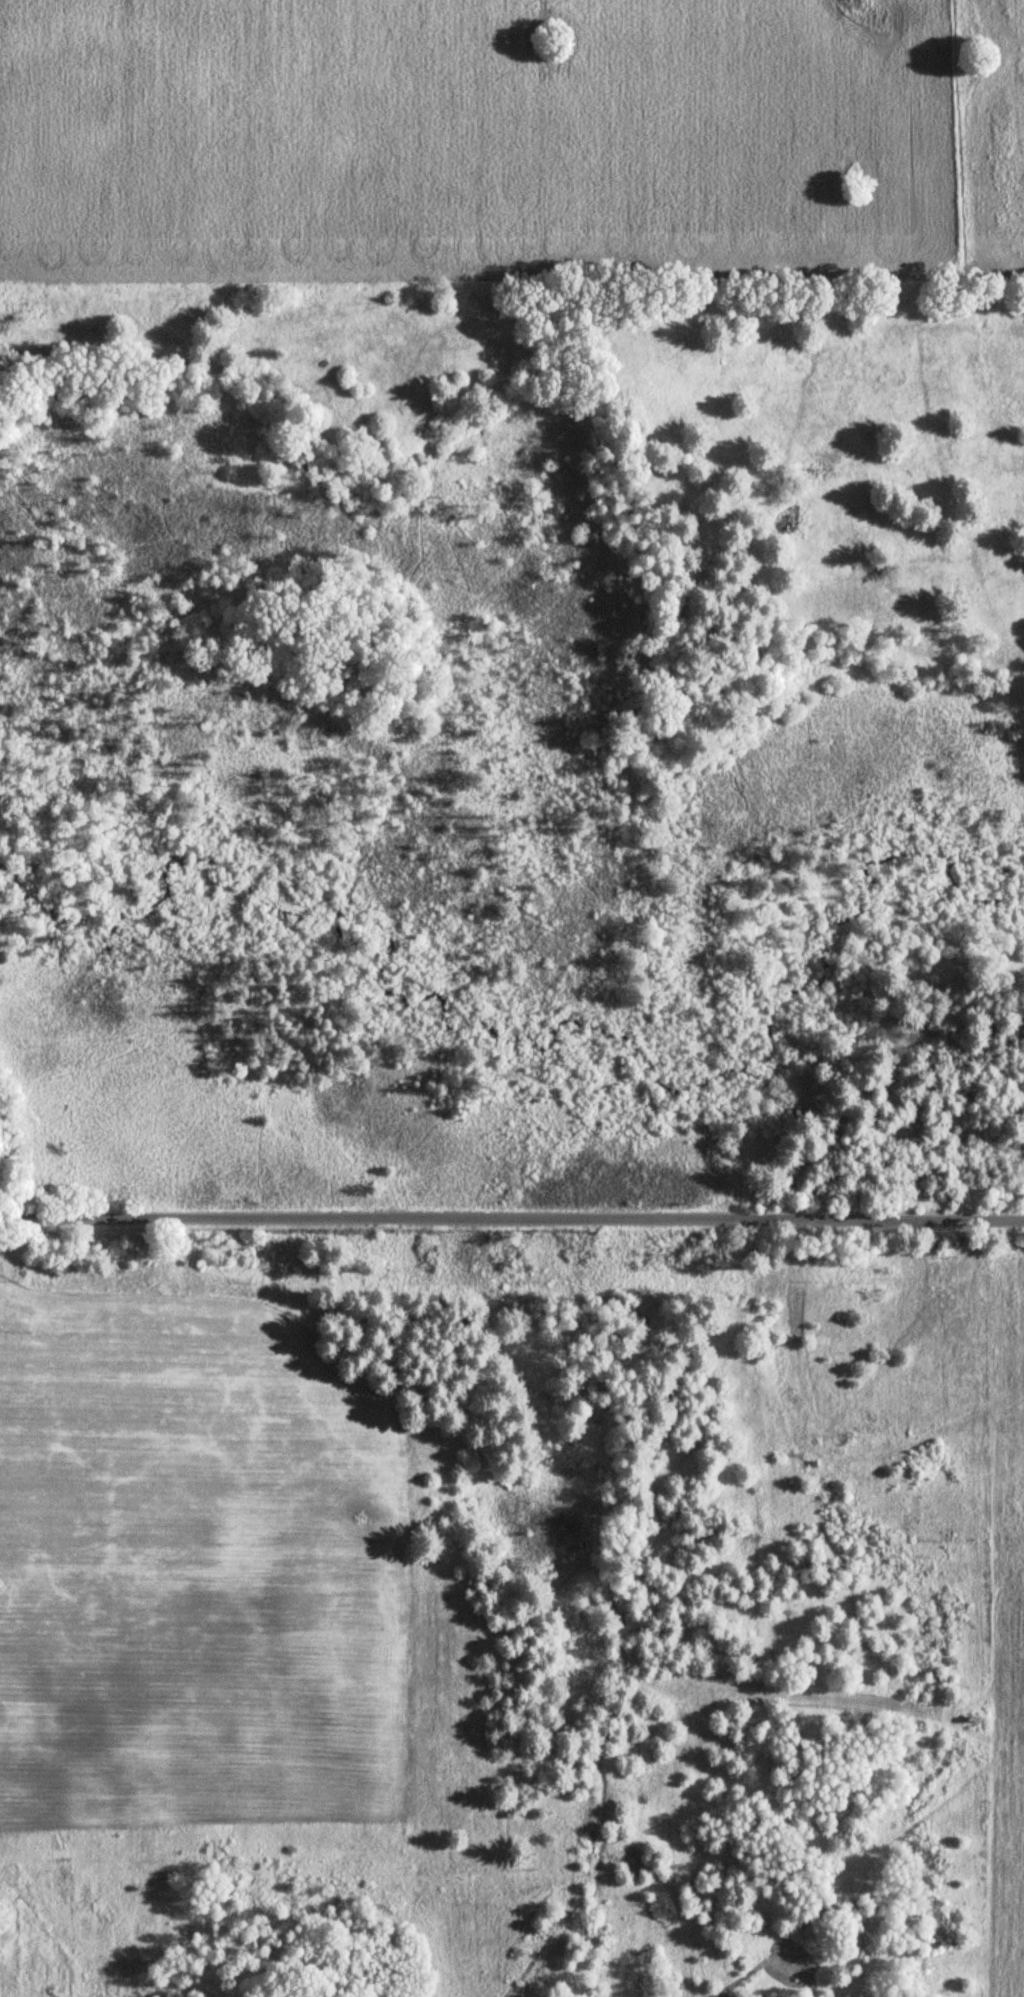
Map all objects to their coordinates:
road: (512, 1217)

